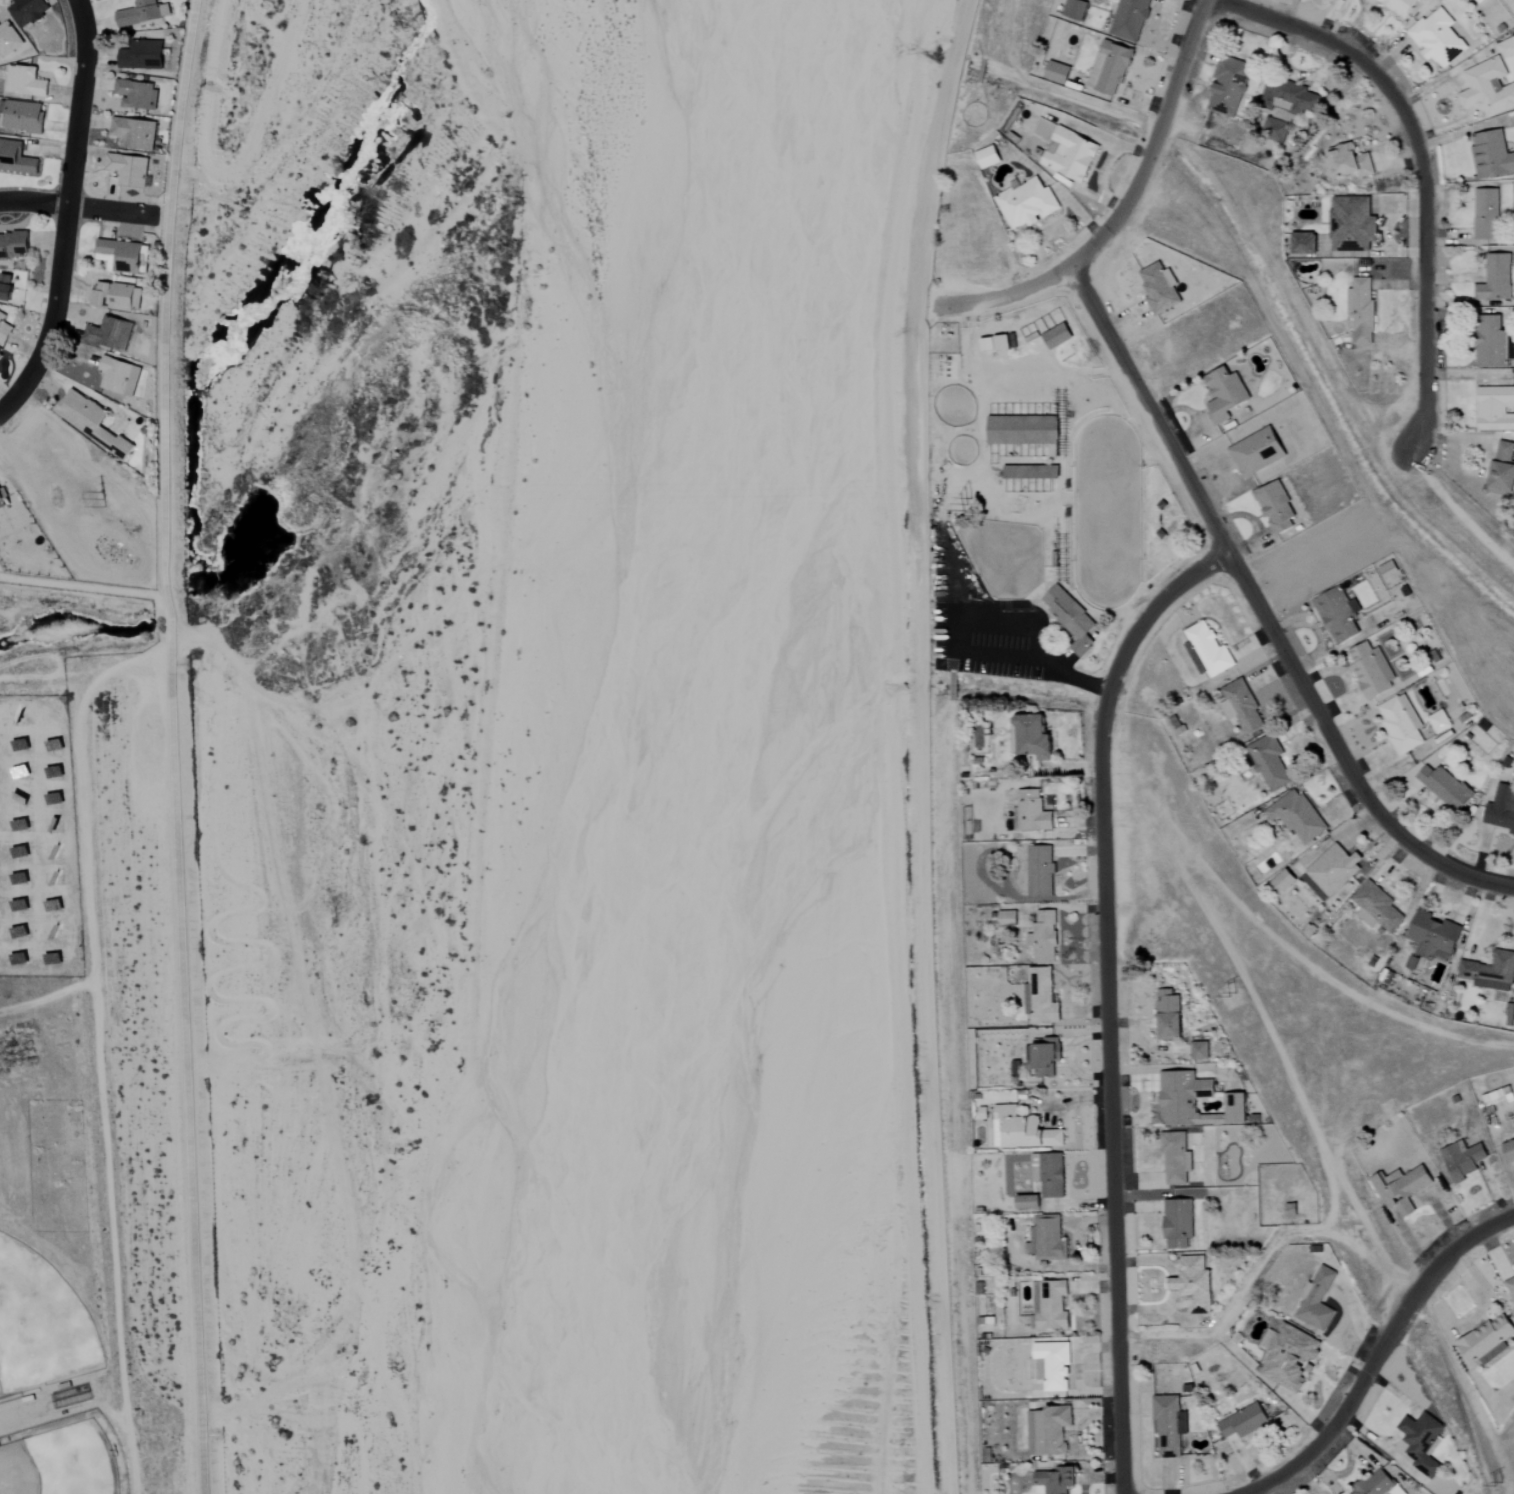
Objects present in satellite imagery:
building: (1075, 10)
building: (27, 11)
building: (143, 13)
building: (1130, 20)
building: (1438, 39)
building: (8, 40)
building: (1506, 48)
building: (141, 56)
building: (1110, 69)
building: (1058, 73)
building: (26, 82)
building: (1229, 86)
building: (1487, 89)
building: (136, 95)
building: (1289, 98)
building: (22, 117)
building: (134, 134)
road: (1153, 140)
building: (1071, 155)
building: (1492, 156)
building: (988, 158)
building: (16, 159)
building: (1351, 162)
road: (1423, 166)
building: (128, 170)
building: (1027, 204)
road: (84, 209)
road: (66, 210)
building: (1487, 215)
building: (1353, 225)
building: (1305, 244)
building: (14, 245)
building: (126, 256)
building: (1496, 279)
building: (6, 286)
building: (1160, 289)
building: (115, 296)
road: (1013, 296)
building: (1364, 306)
building: (4, 329)
building: (110, 333)
building: (1058, 337)
building: (1494, 342)
building: (1003, 344)
building: (0, 359)
building: (119, 376)
building: (1226, 394)
building: (1495, 408)
building: (91, 421)
building: (1019, 428)
building: (1258, 452)
building: (1503, 469)
building: (1032, 472)
power tower: (99, 497)
building: (2, 500)
power tower: (958, 502)
building: (1276, 507)
building: (1389, 569)
road: (1261, 611)
building: (1339, 615)
building: (1071, 619)
building: (1211, 650)
road: (981, 654)
building: (1196, 658)
building: (1372, 671)
building: (1242, 707)
building: (1440, 722)
building: (1402, 724)
building: (1035, 737)
road: (173, 745)
river: (657, 746)
building: (1270, 762)
building: (1446, 787)
building: (53, 799)
building: (1502, 809)
building: (1033, 812)
building: (1298, 817)
building: (53, 826)
road: (87, 840)
solar farm: (39, 842)
building: (54, 852)
building: (1334, 869)
building: (1041, 871)
building: (0, 875)
building: (1283, 882)
building: (1377, 908)
building: (1008, 920)
building: (1045, 936)
building: (1435, 937)
building: (19, 960)
building: (1412, 962)
building: (1491, 972)
building: (1042, 996)
power tower: (1231, 996)
road: (1107, 998)
building: (1169, 1015)
building: (1200, 1051)
building: (1044, 1057)
building: (1187, 1099)
building: (1236, 1109)
building: (1026, 1130)
building: (1509, 1152)
building: (1176, 1158)
building: (1463, 1160)
building: (1053, 1176)
building: (1402, 1189)
building: (1029, 1202)
building: (1292, 1210)
building: (1179, 1224)
building: (1047, 1239)
building: (1192, 1285)
building: (1510, 1287)
building: (1318, 1300)
building: (1053, 1306)
building: (1488, 1341)
road: (1379, 1355)
building: (1291, 1358)
building: (1055, 1364)
park: (15, 1370)
road: (24, 1410)
building: (1244, 1422)
building: (1170, 1427)
building: (1052, 1431)
building: (1422, 1442)
park: (51, 1465)
building: (1056, 1481)
power tower: (1496, 1483)
building: (1379, 1485)

